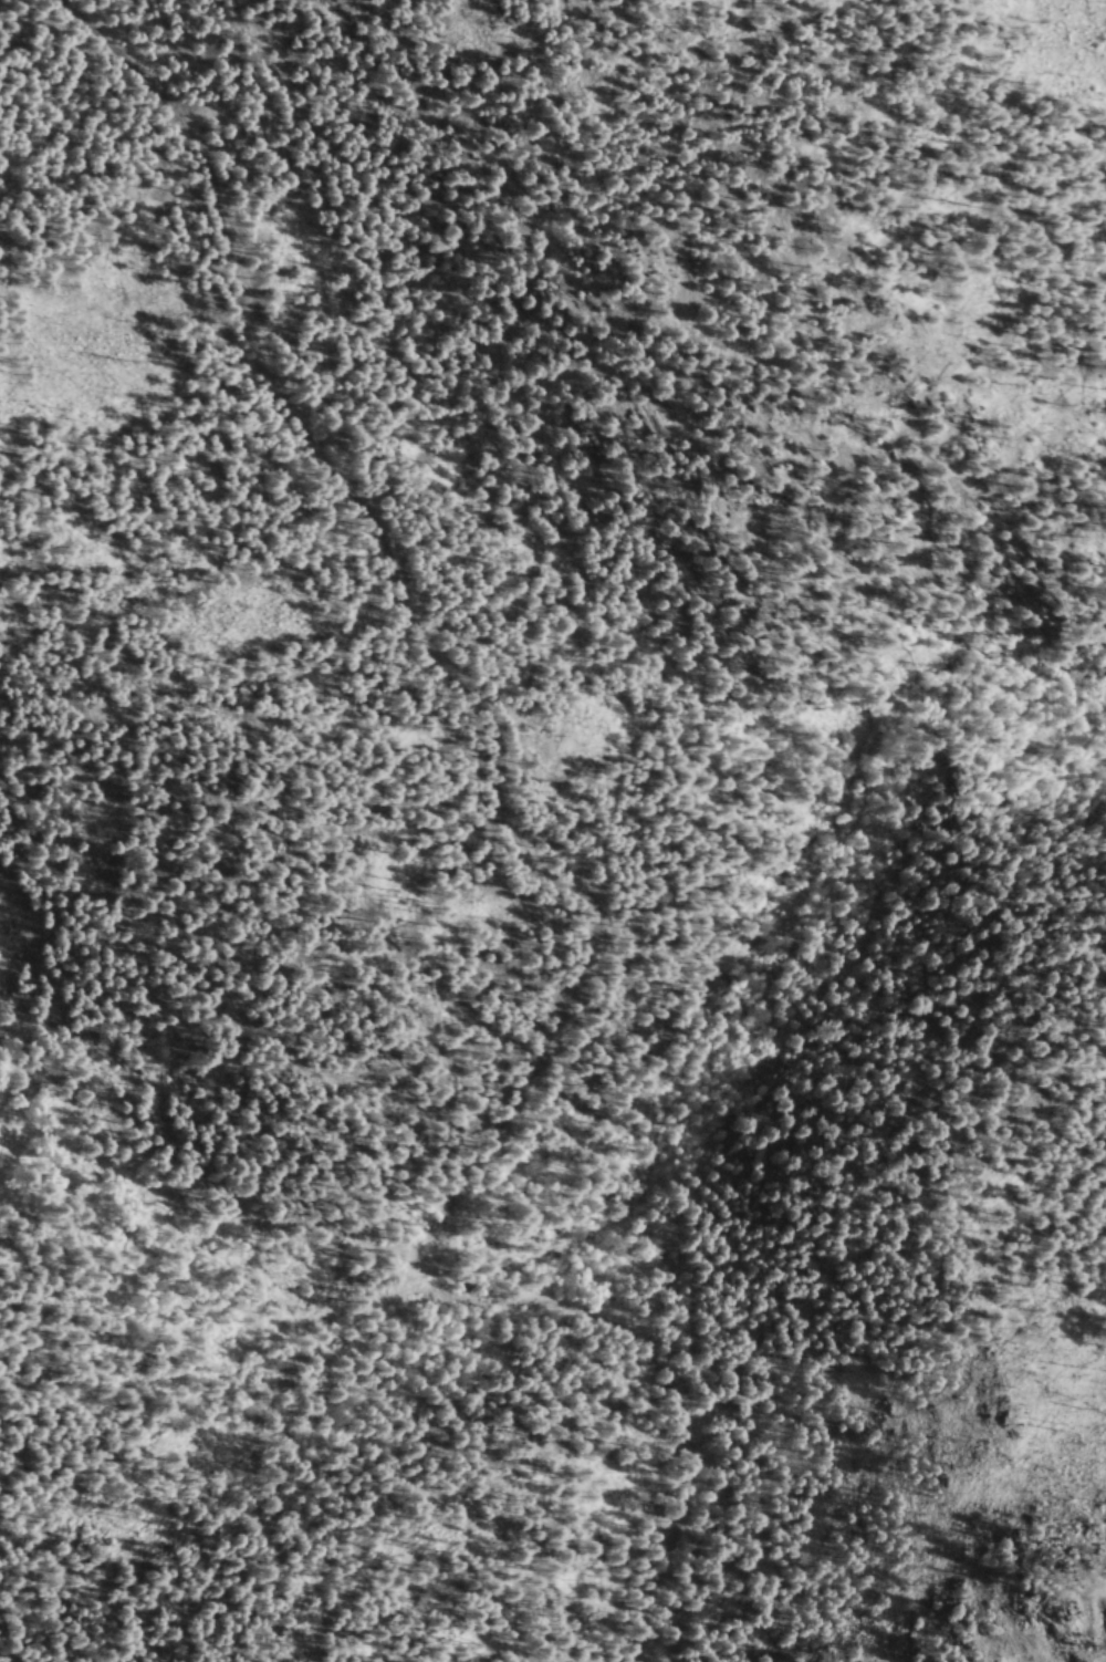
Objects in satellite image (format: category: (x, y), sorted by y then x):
road: (551, 879)

